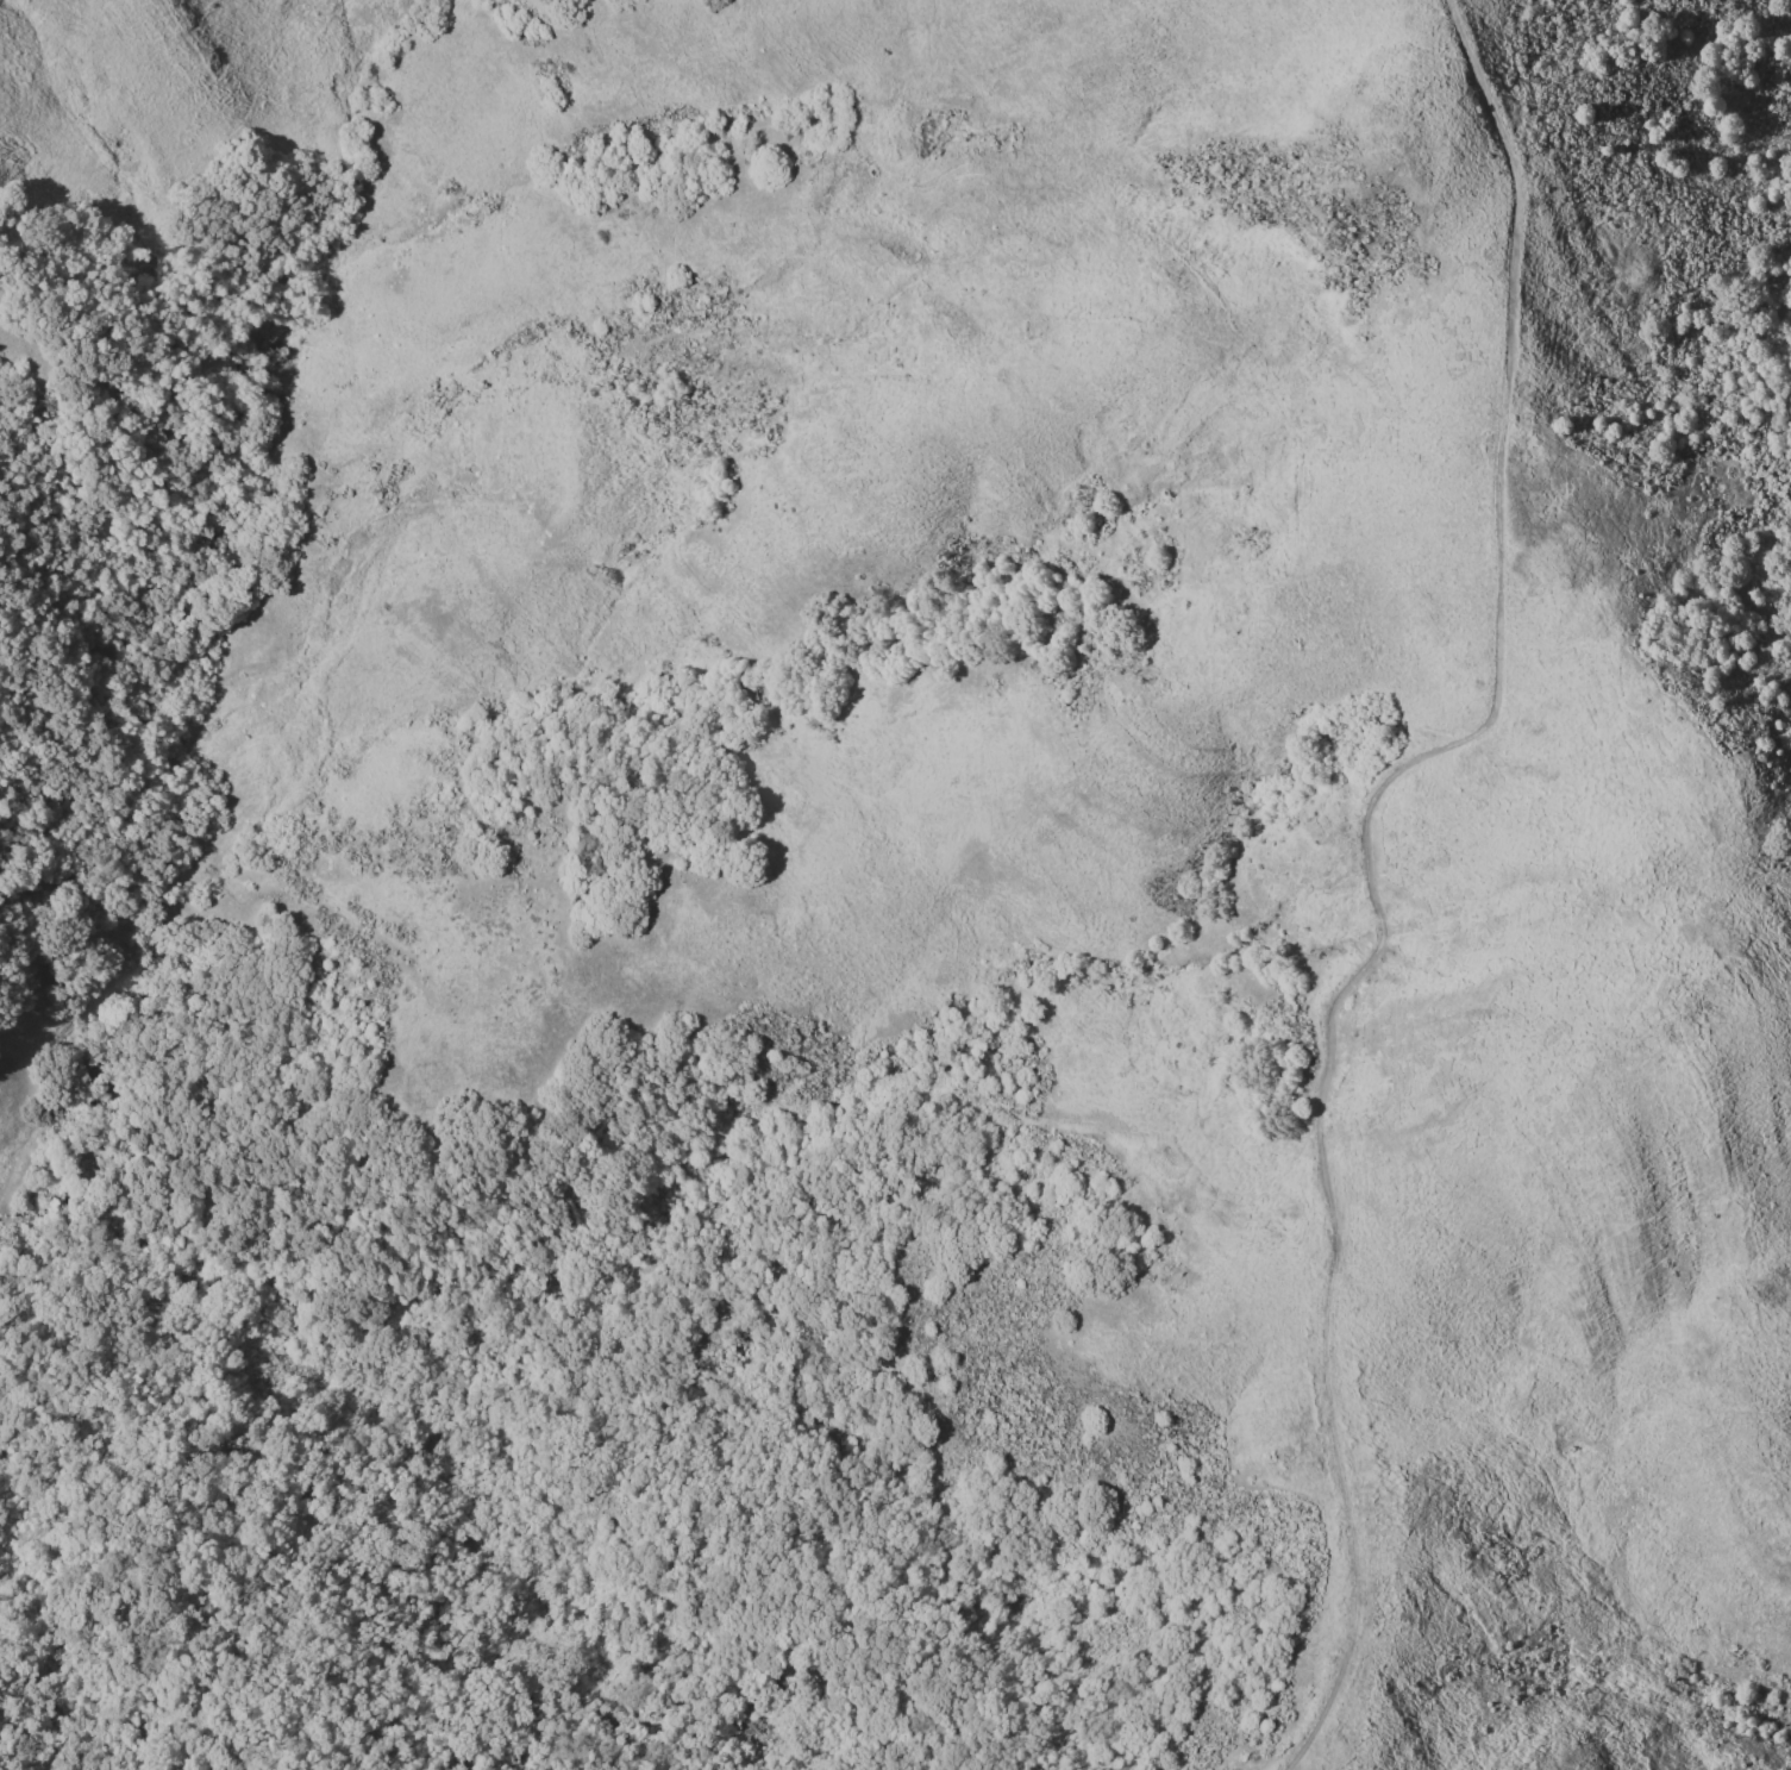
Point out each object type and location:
road: (1364, 863)

